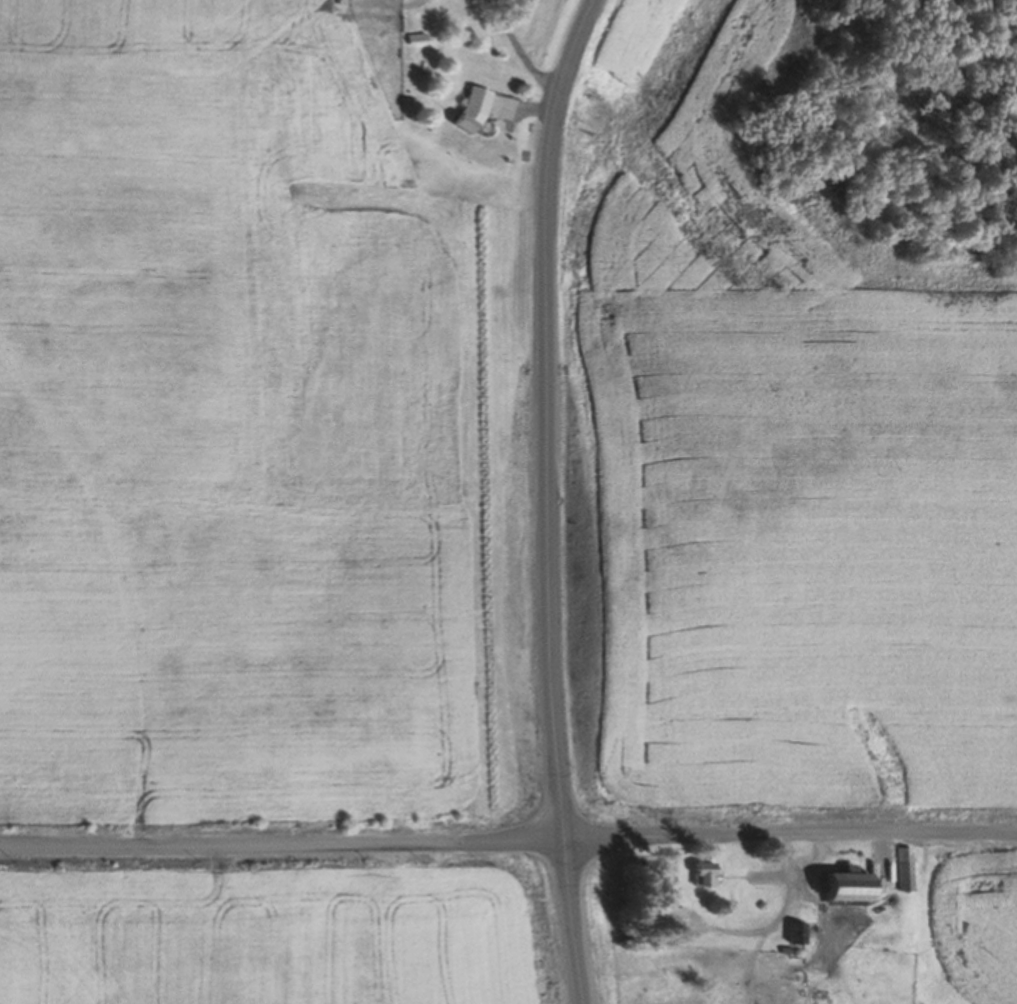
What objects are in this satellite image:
building: (410, 39)
road: (513, 48)
road: (517, 108)
building: (466, 111)
road: (549, 498)
road: (788, 835)
road: (280, 845)
building: (898, 870)
road: (794, 872)
building: (700, 875)
building: (837, 889)
building: (654, 917)
road: (773, 926)
building: (790, 932)

